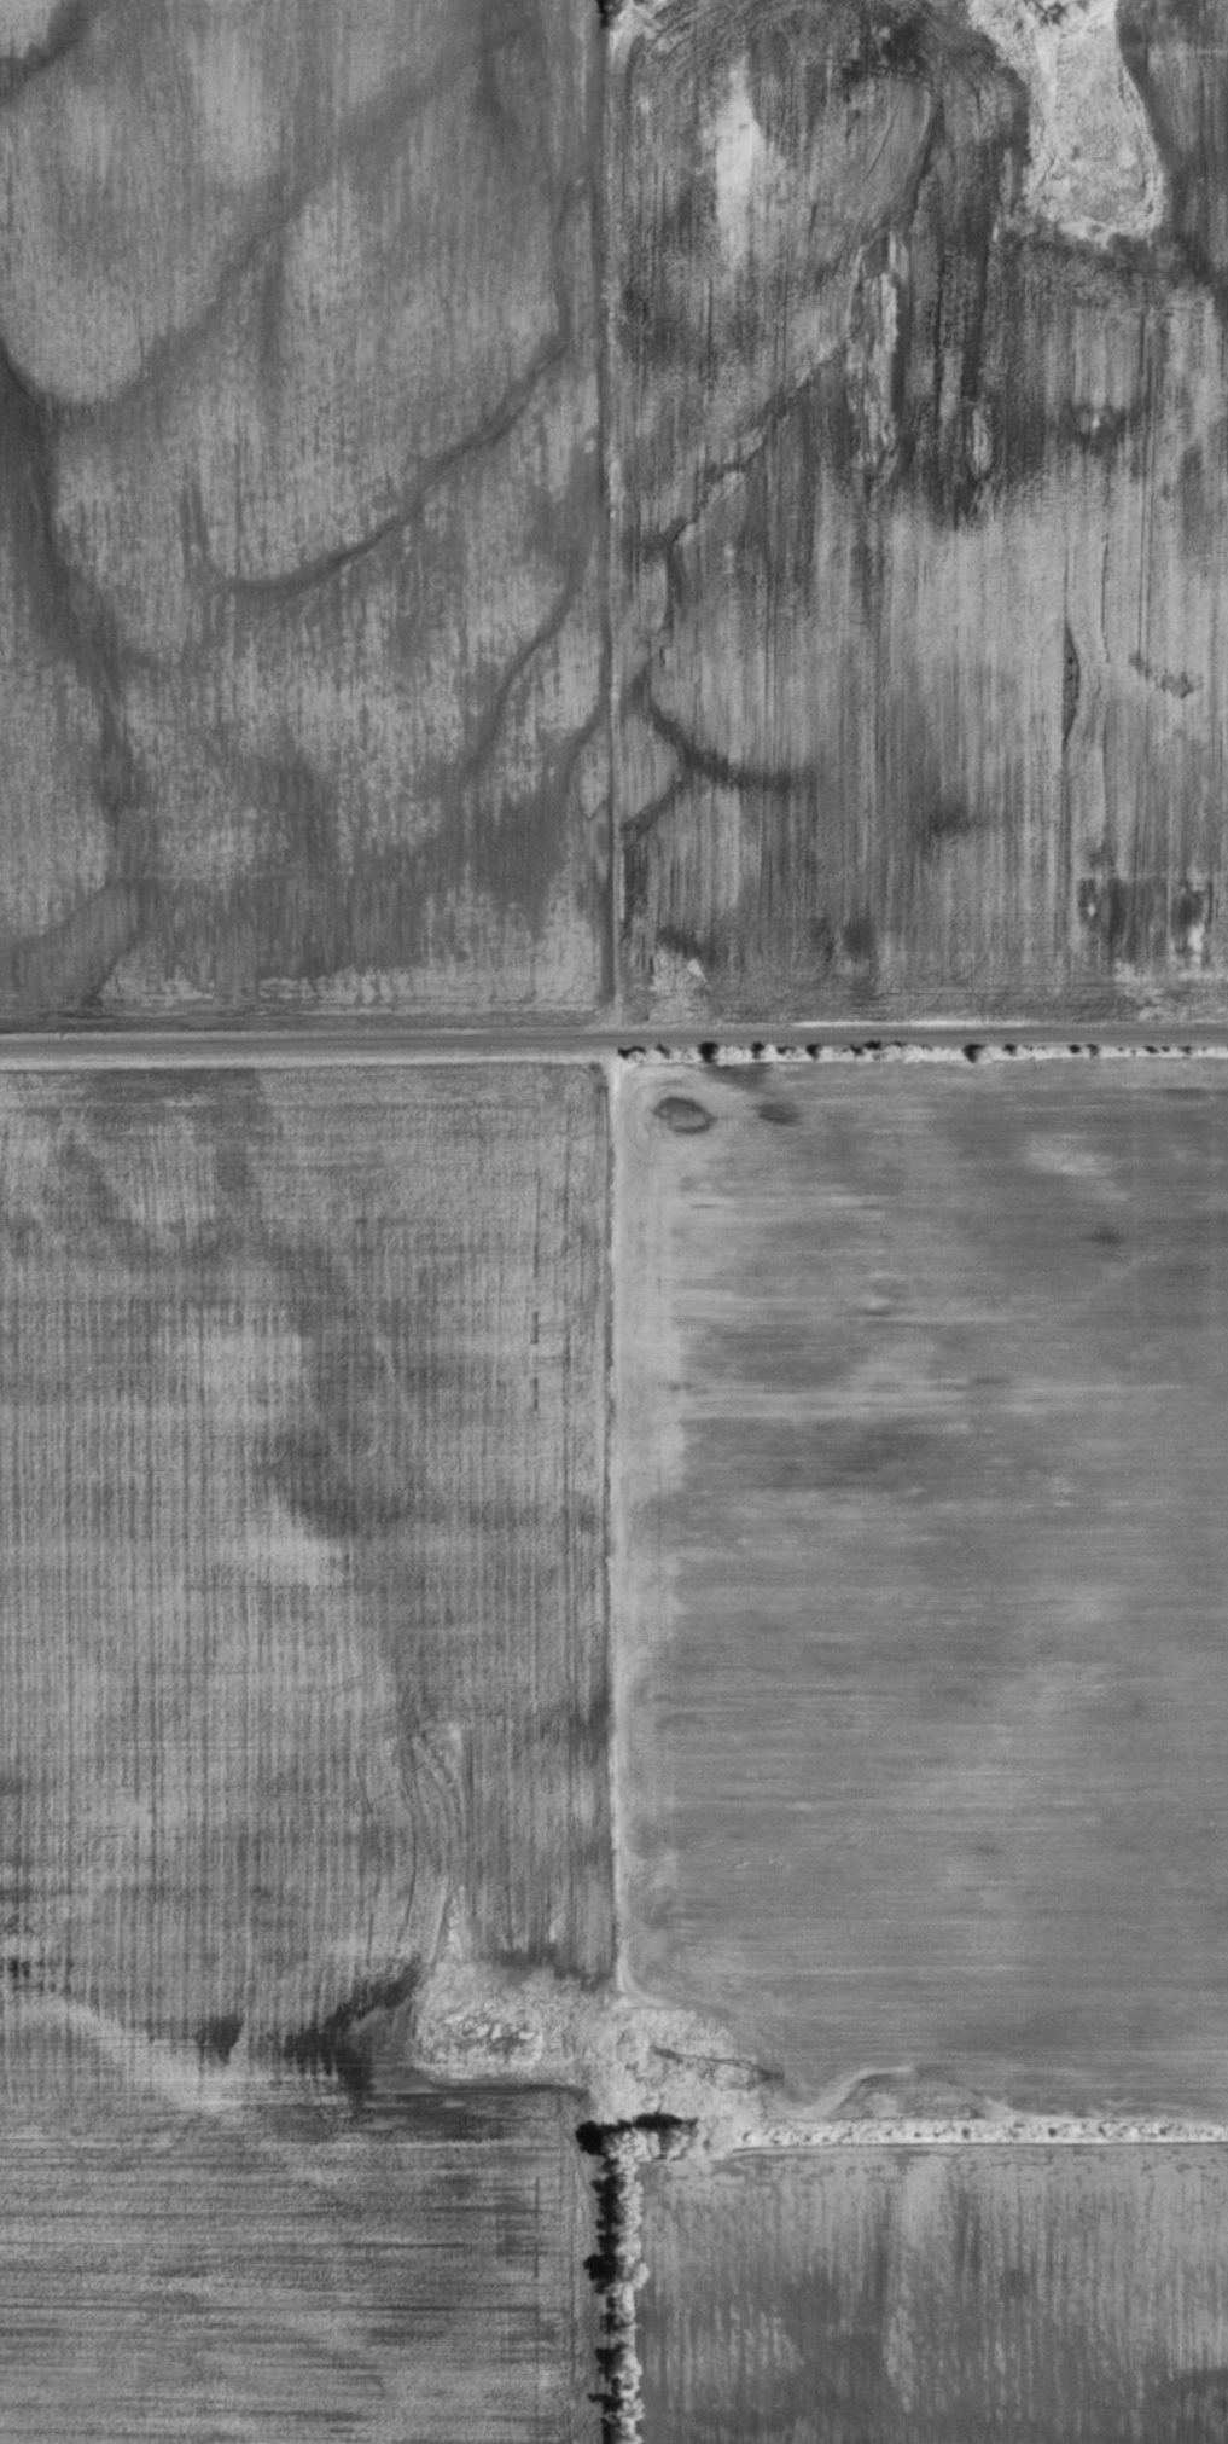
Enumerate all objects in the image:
road: (613, 1039)
power tower: (733, 2076)

